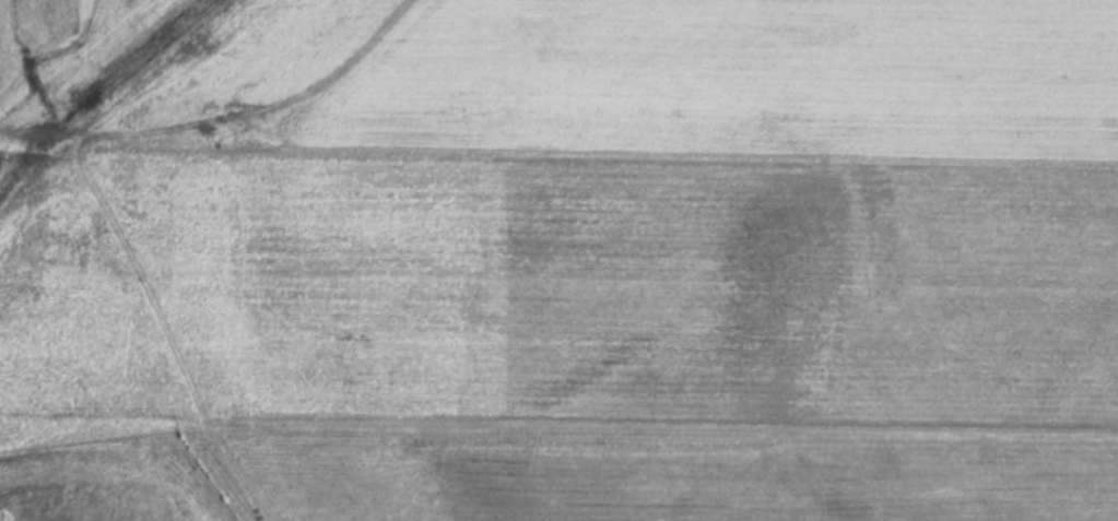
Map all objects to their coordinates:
river: (106, 87)

